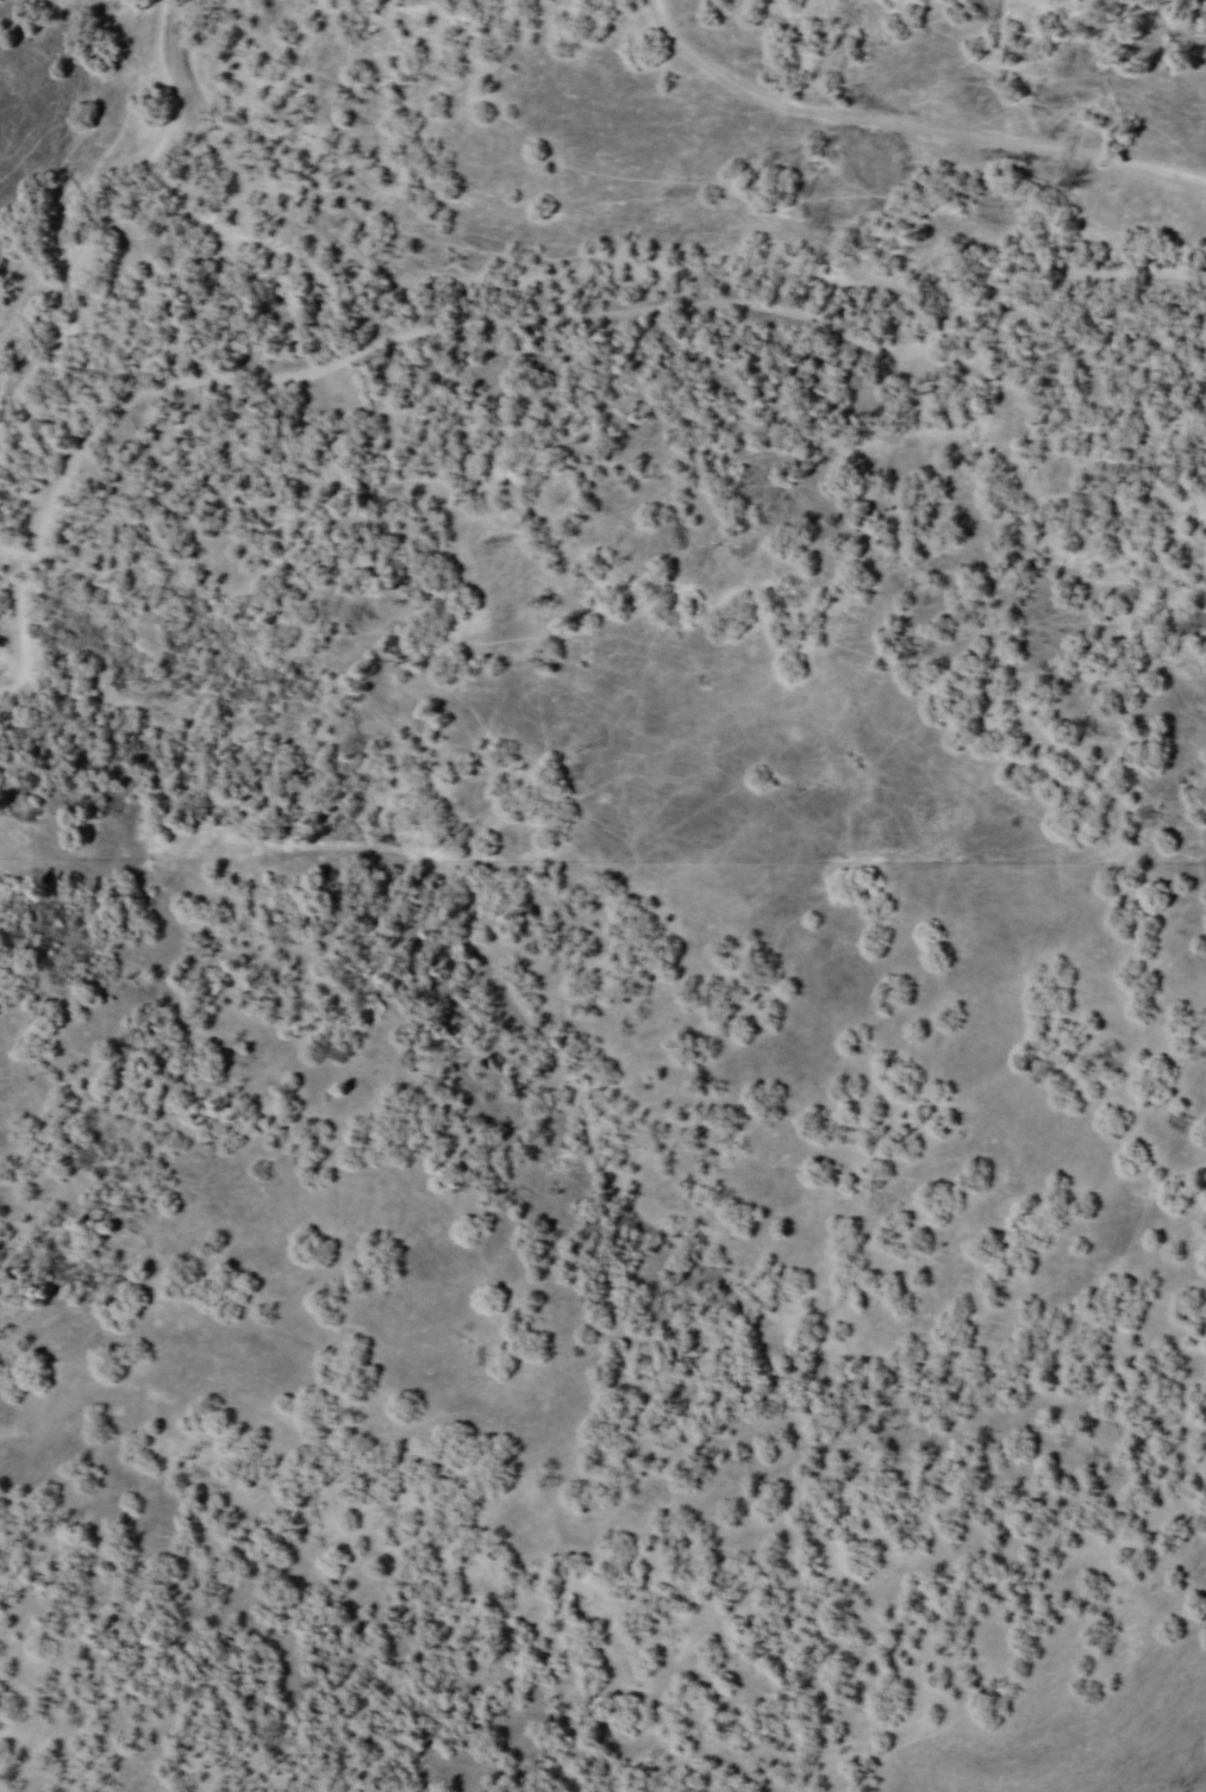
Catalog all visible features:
road: (981, 74)
road: (448, 257)

